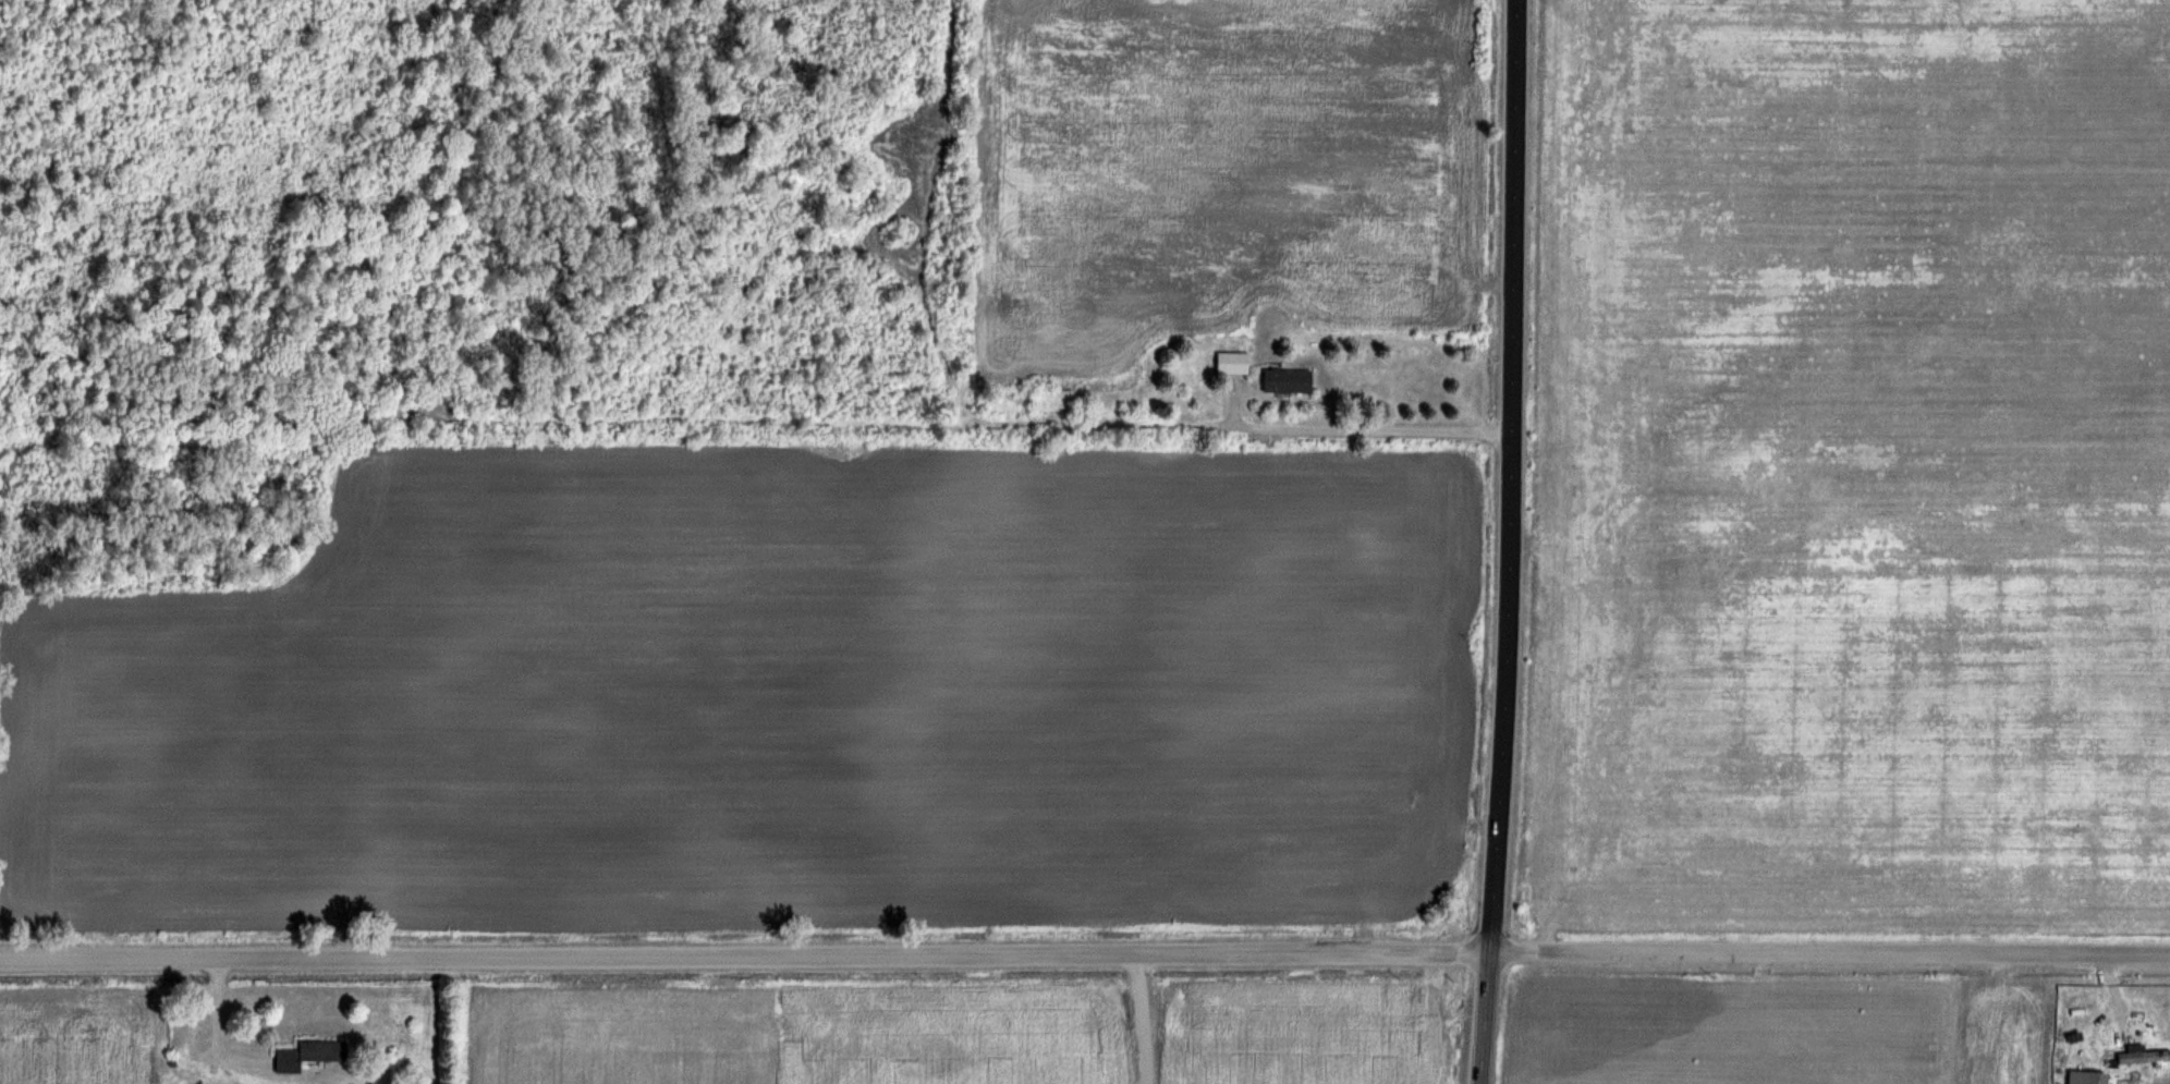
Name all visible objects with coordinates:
building: (1232, 362)
building: (1287, 380)
building: (1053, 399)
road: (1350, 429)
road: (1509, 541)
road: (1085, 952)
building: (308, 1052)
building: (2144, 1055)
building: (2096, 1076)

